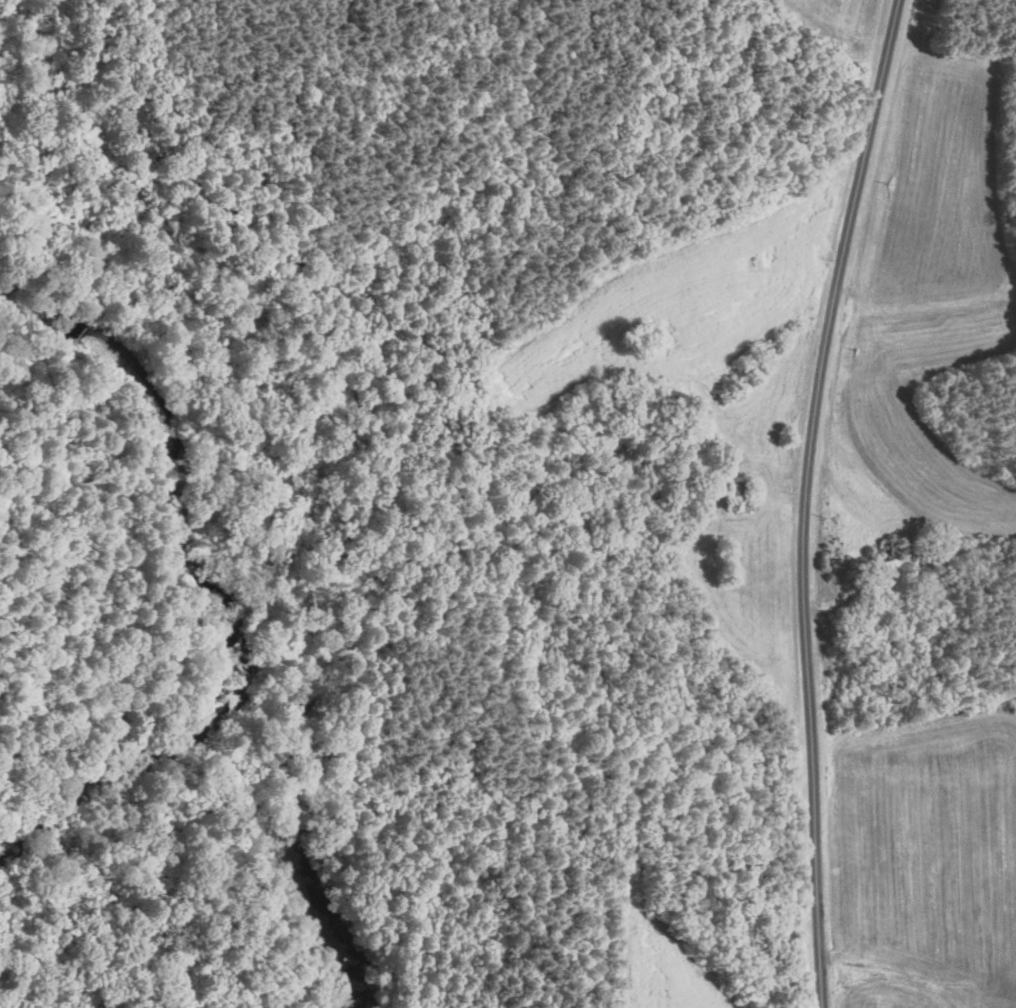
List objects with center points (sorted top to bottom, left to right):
road: (807, 500)

